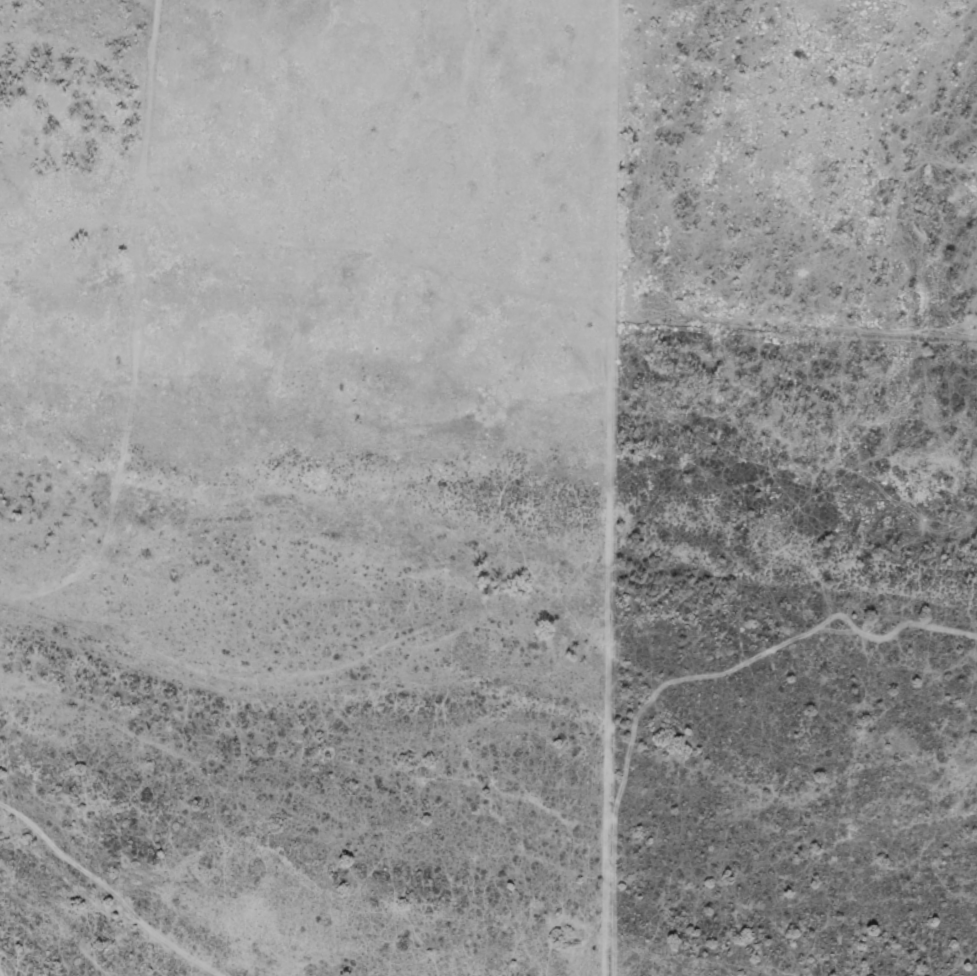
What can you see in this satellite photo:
road: (138, 341)

